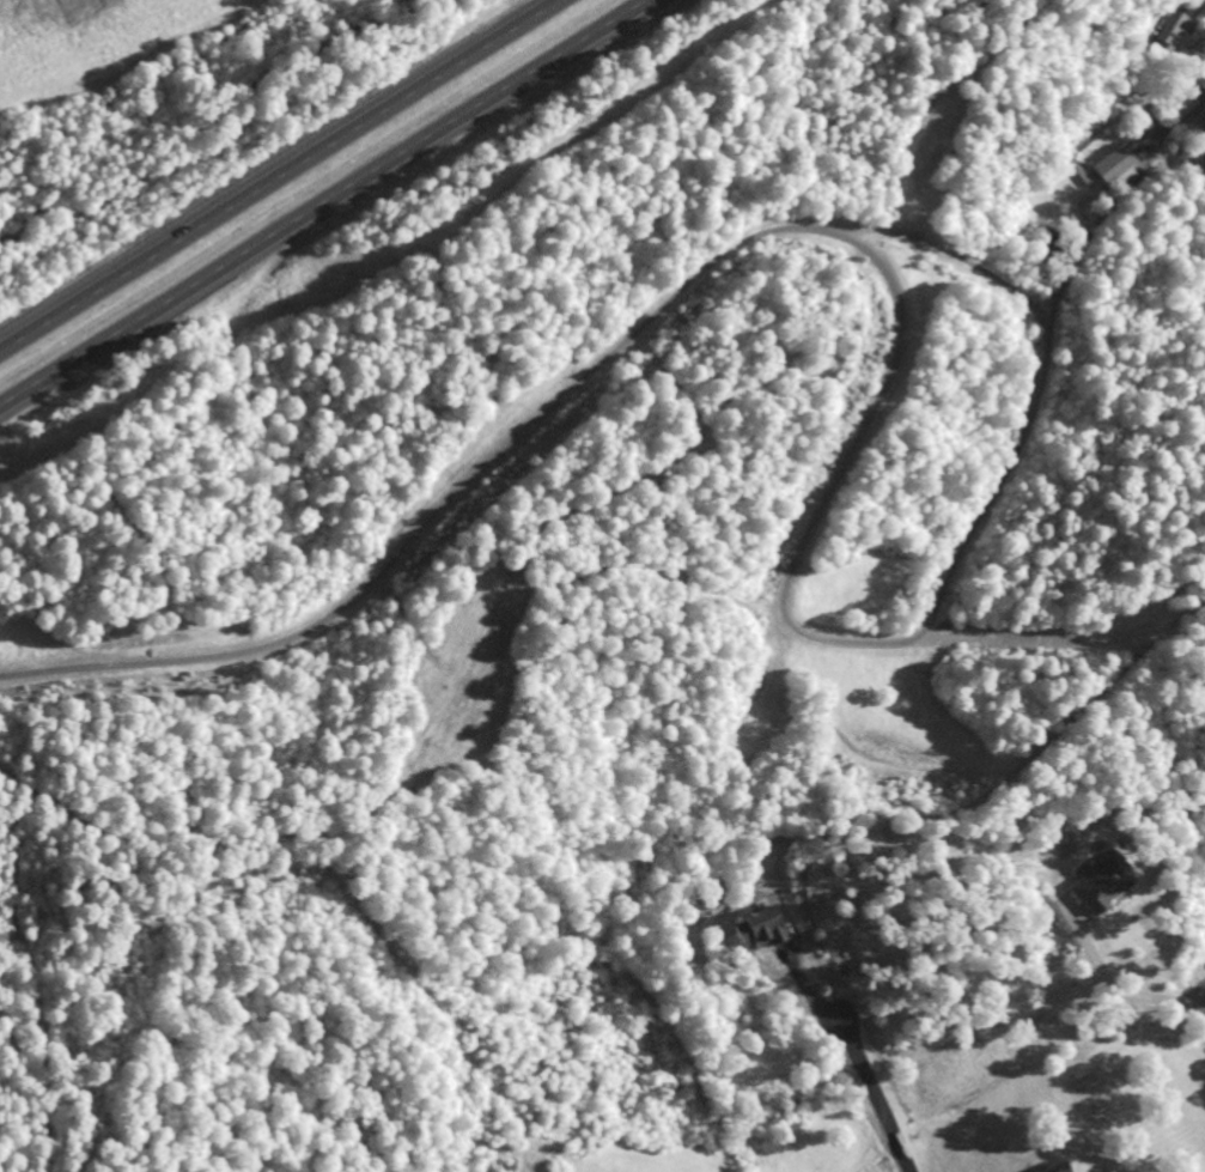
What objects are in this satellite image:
building: (1162, 38)
building: (1107, 166)
road: (279, 175)
road: (325, 205)
road: (444, 511)
road: (913, 637)
building: (1090, 883)
building: (749, 931)
road: (1120, 995)
road: (875, 1093)
building: (1049, 1168)

